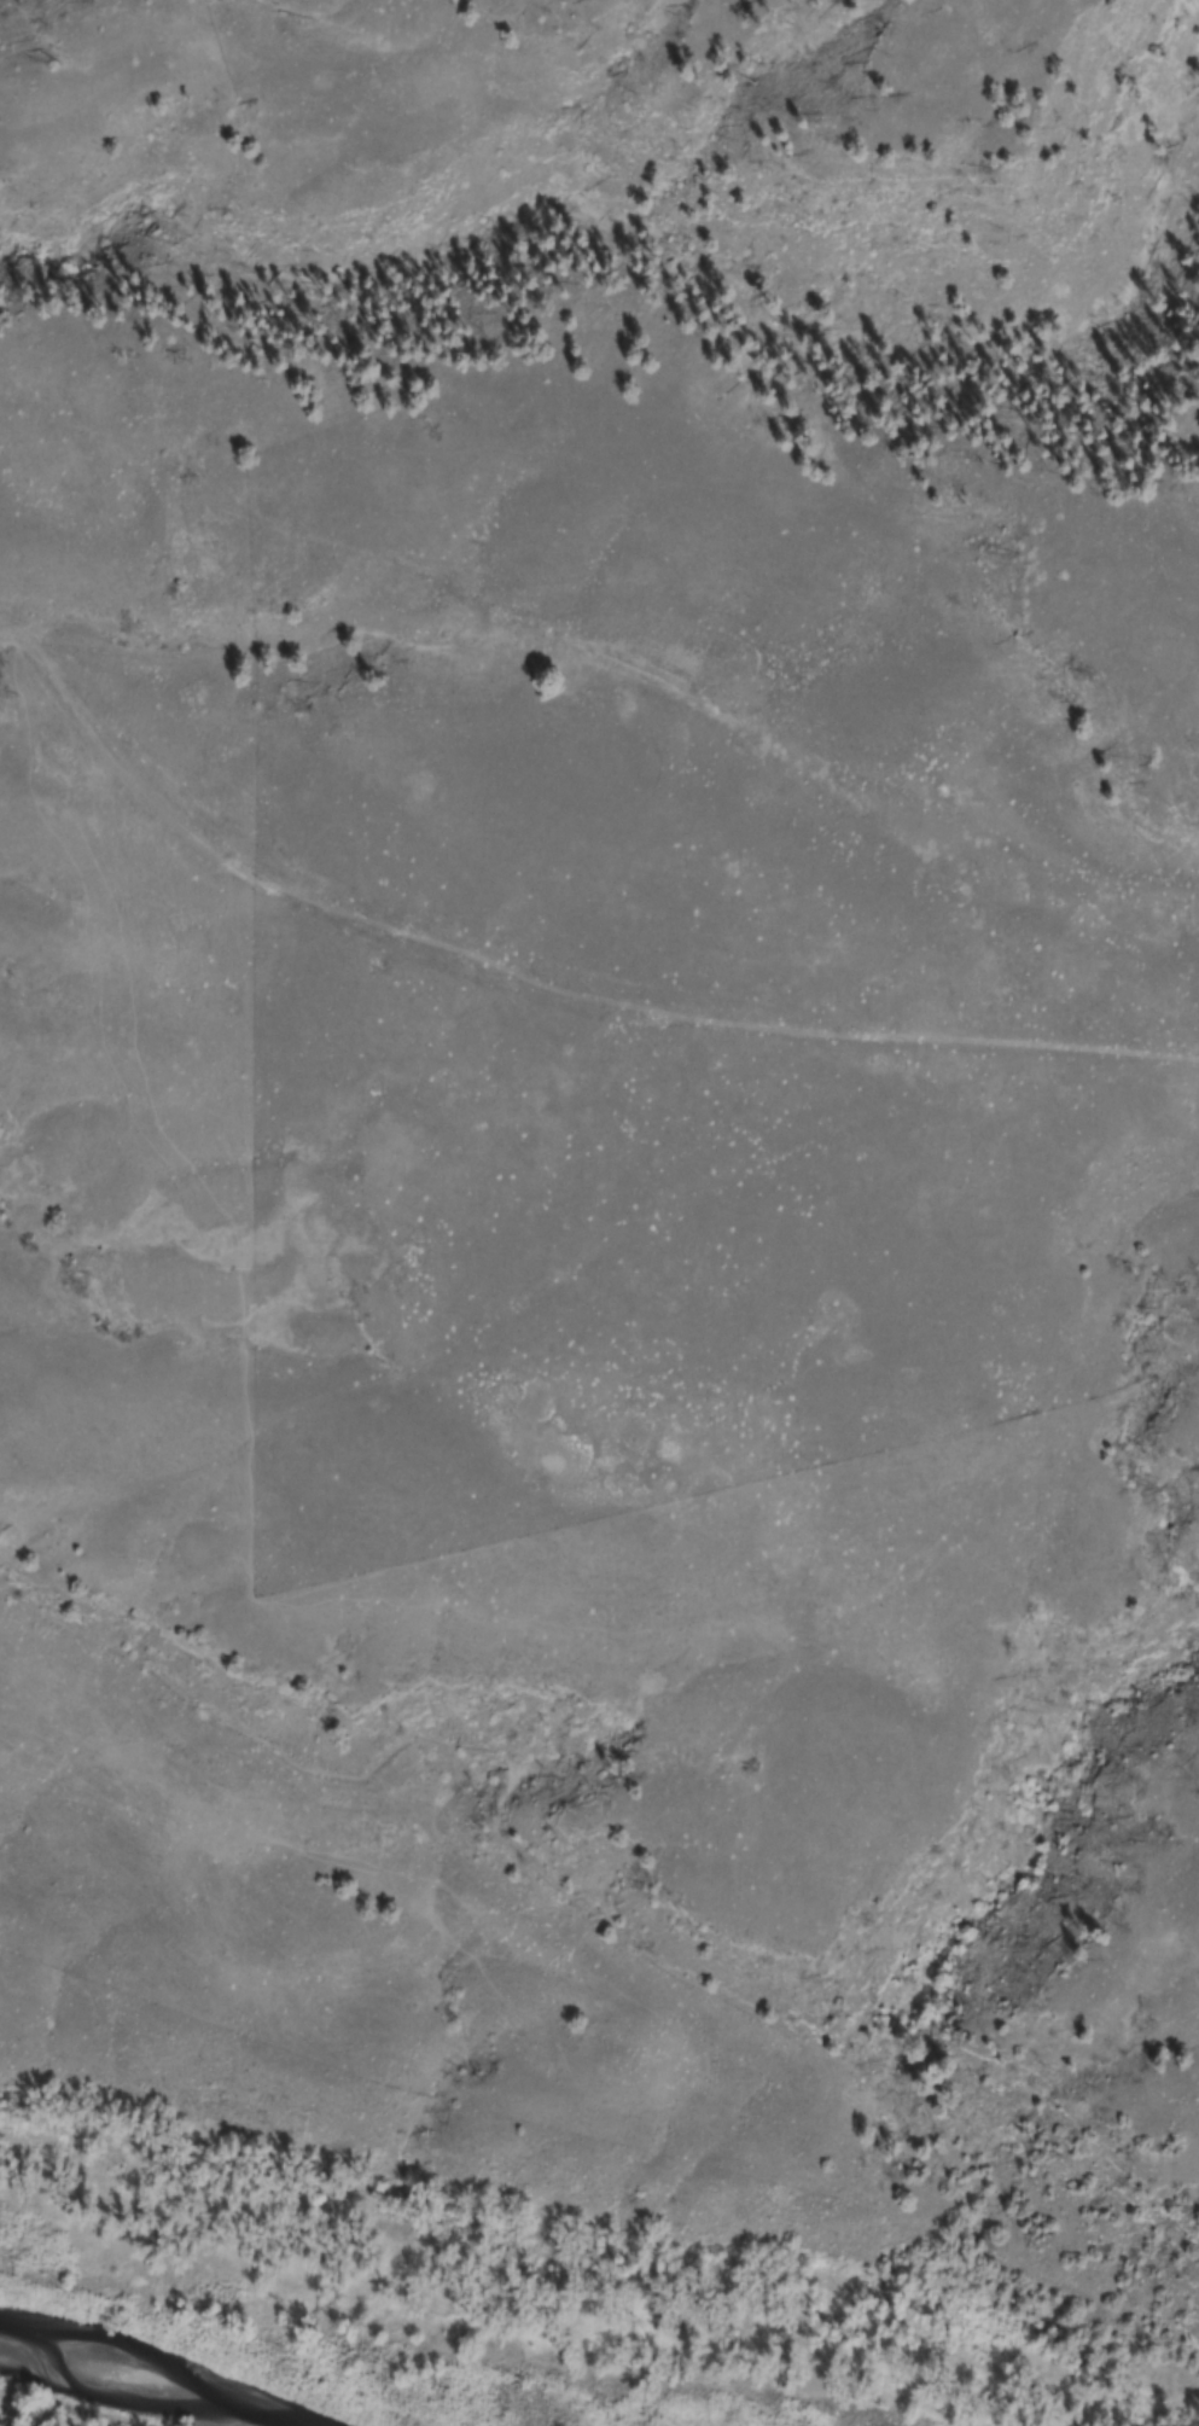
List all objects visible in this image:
river: (382, 2366)

